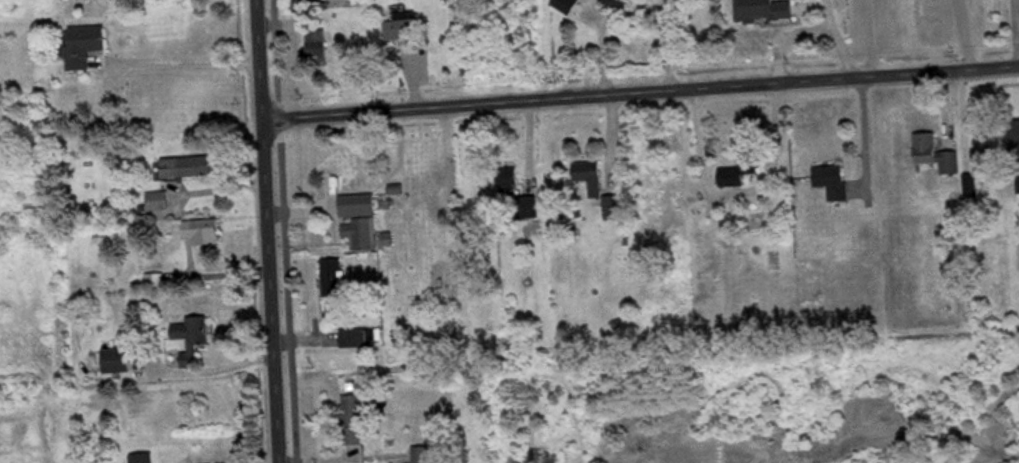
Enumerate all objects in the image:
building: (618, 4)
building: (568, 6)
building: (760, 19)
building: (404, 28)
building: (87, 47)
building: (319, 47)
road: (639, 92)
building: (1015, 140)
building: (986, 147)
building: (938, 155)
building: (191, 168)
building: (743, 171)
building: (591, 174)
building: (510, 180)
building: (835, 182)
building: (973, 187)
building: (427, 189)
building: (161, 202)
building: (614, 209)
building: (362, 226)
road: (264, 231)
building: (206, 233)
building: (338, 279)
building: (194, 339)
building: (367, 339)
building: (120, 359)
building: (356, 421)
building: (424, 455)
building: (145, 459)

